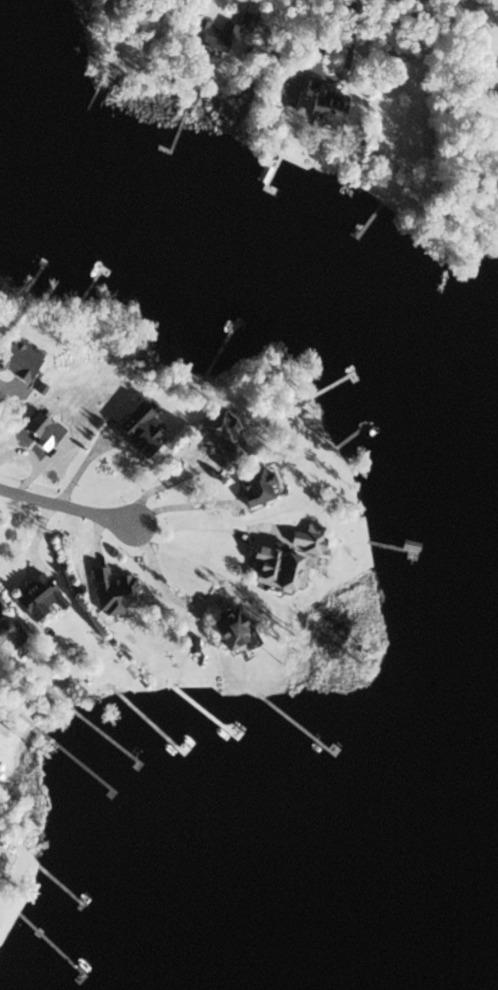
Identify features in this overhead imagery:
building: (209, 34)
building: (324, 105)
building: (140, 429)
building: (221, 434)
road: (162, 481)
building: (256, 486)
road: (178, 501)
road: (66, 506)
road: (195, 520)
building: (273, 568)
road: (165, 586)
building: (117, 592)
building: (36, 596)
building: (232, 632)

